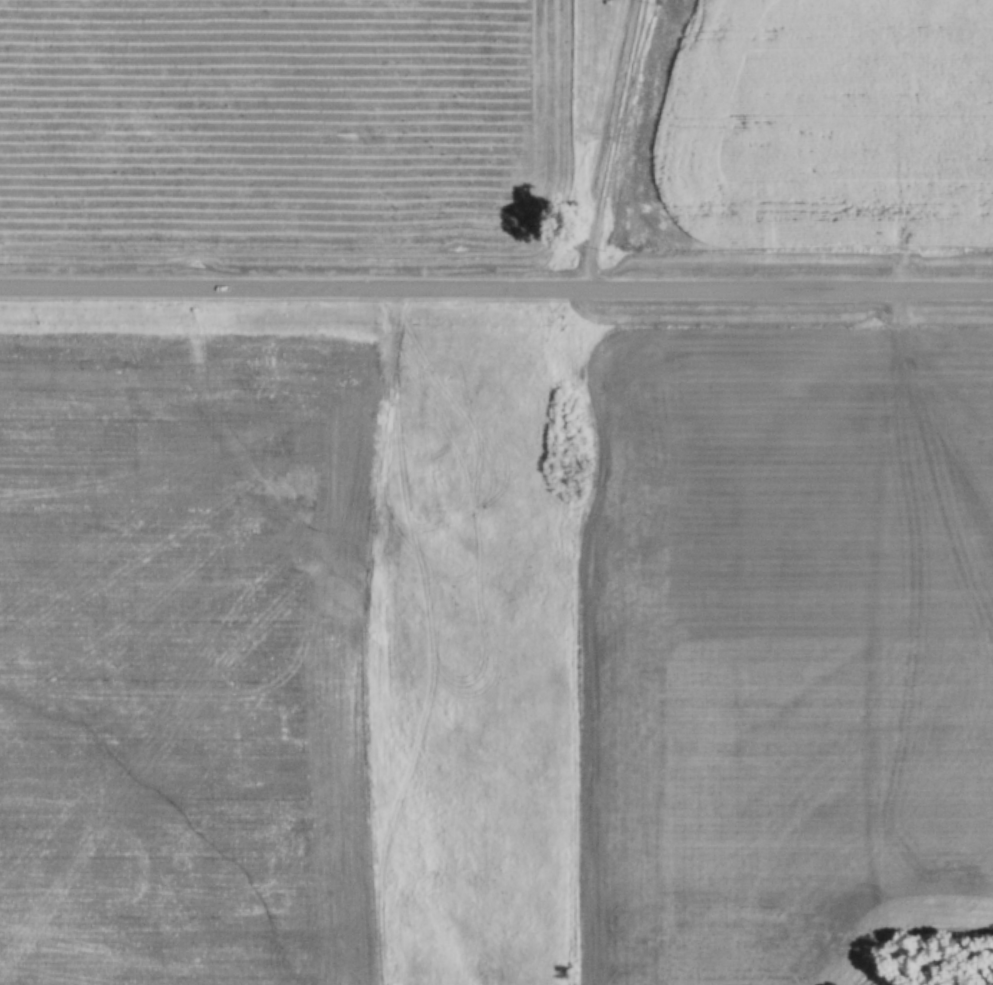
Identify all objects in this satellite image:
road: (496, 287)

